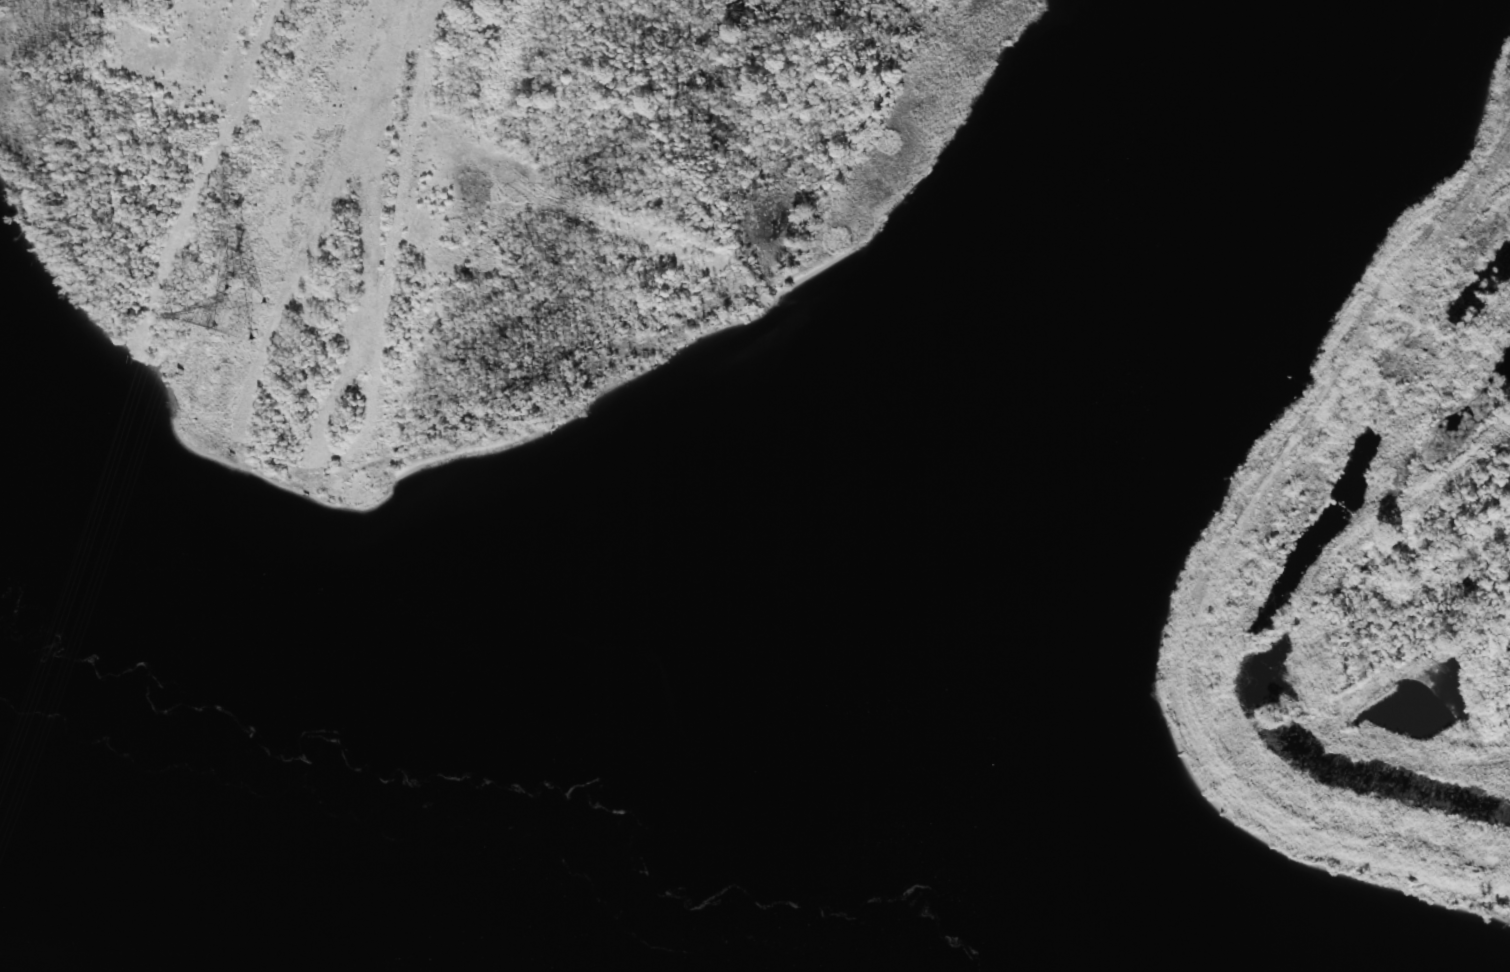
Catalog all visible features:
power tower: (235, 314)
river: (310, 869)

